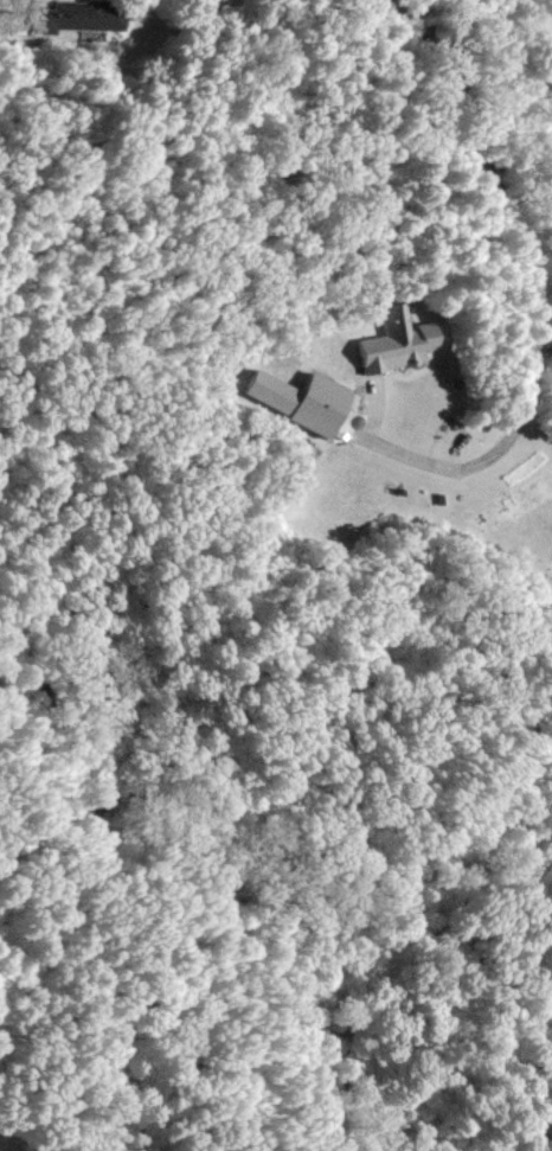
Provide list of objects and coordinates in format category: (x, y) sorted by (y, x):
building: (79, 17)
road: (521, 288)
building: (396, 347)
building: (262, 386)

